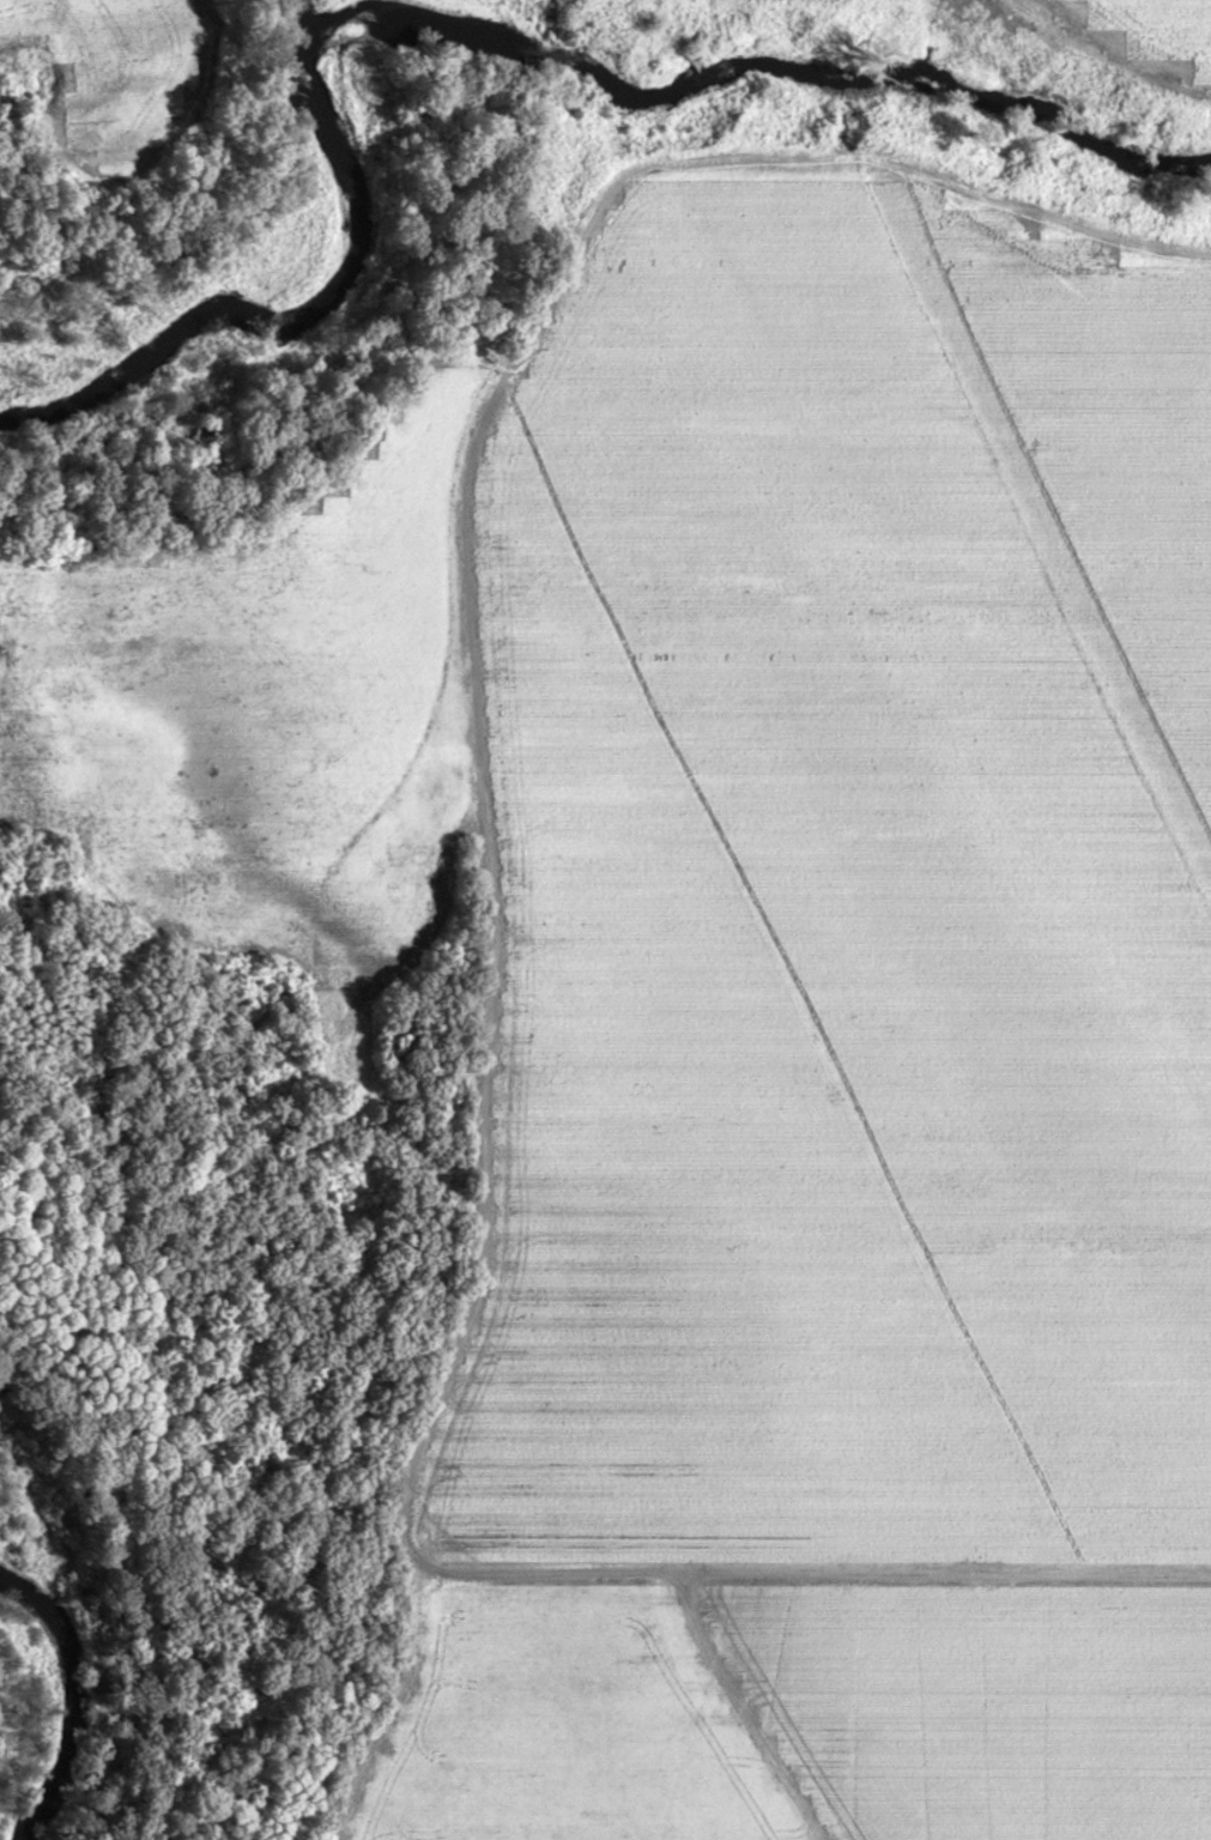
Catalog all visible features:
road: (20, 26)
river: (293, 292)
road: (464, 706)
road: (807, 1568)
river: (50, 1702)

